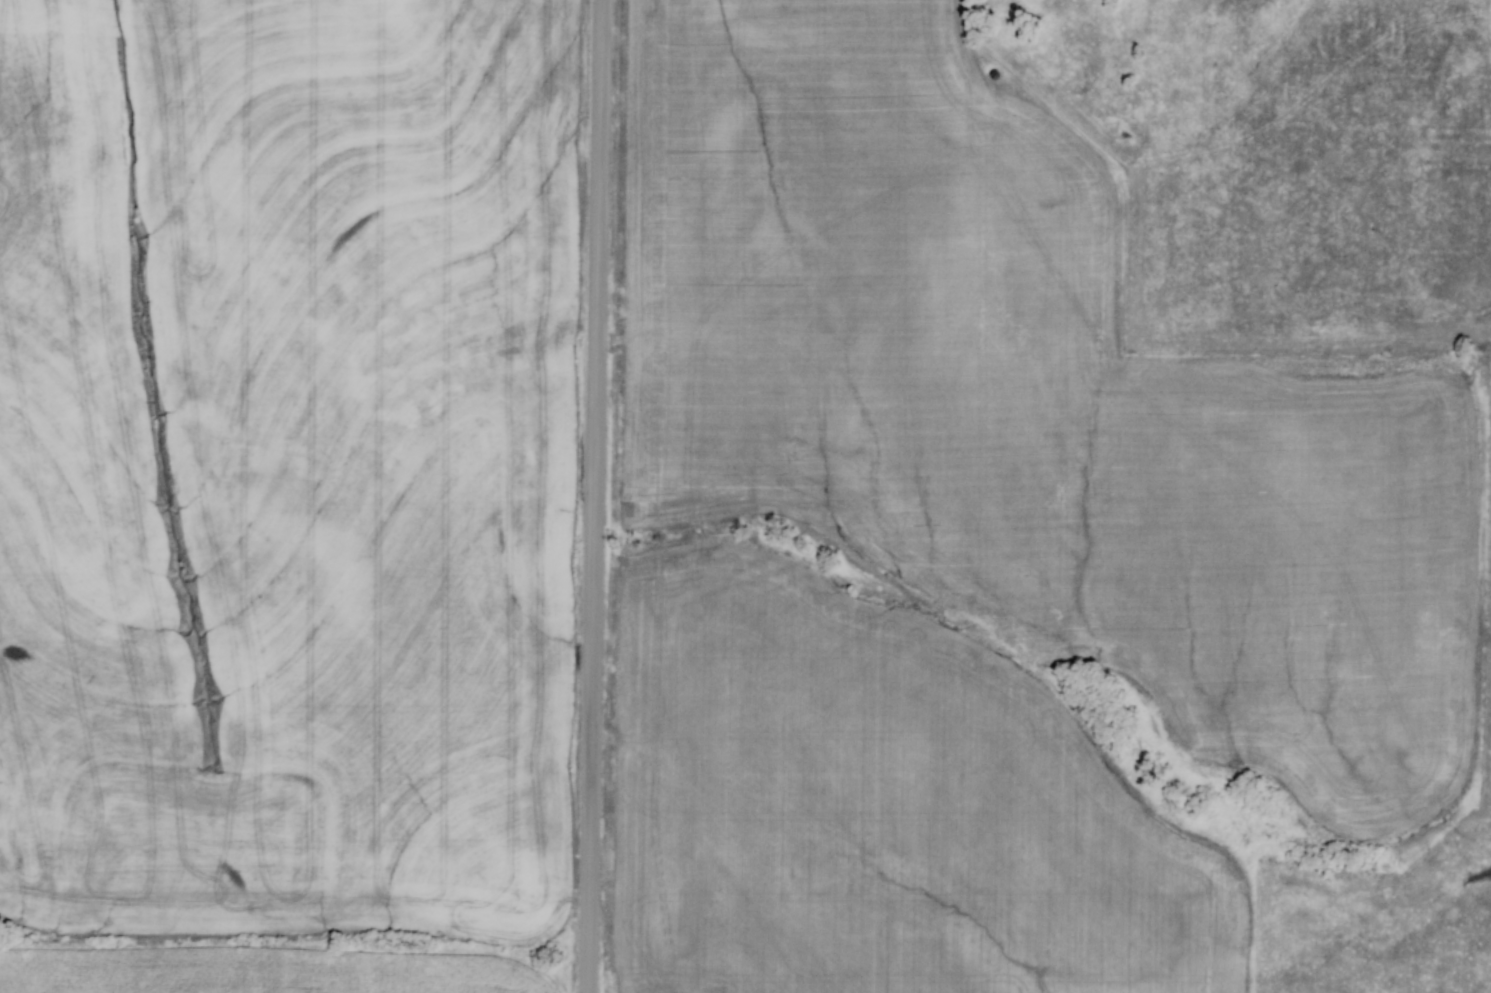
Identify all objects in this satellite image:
road: (590, 496)

